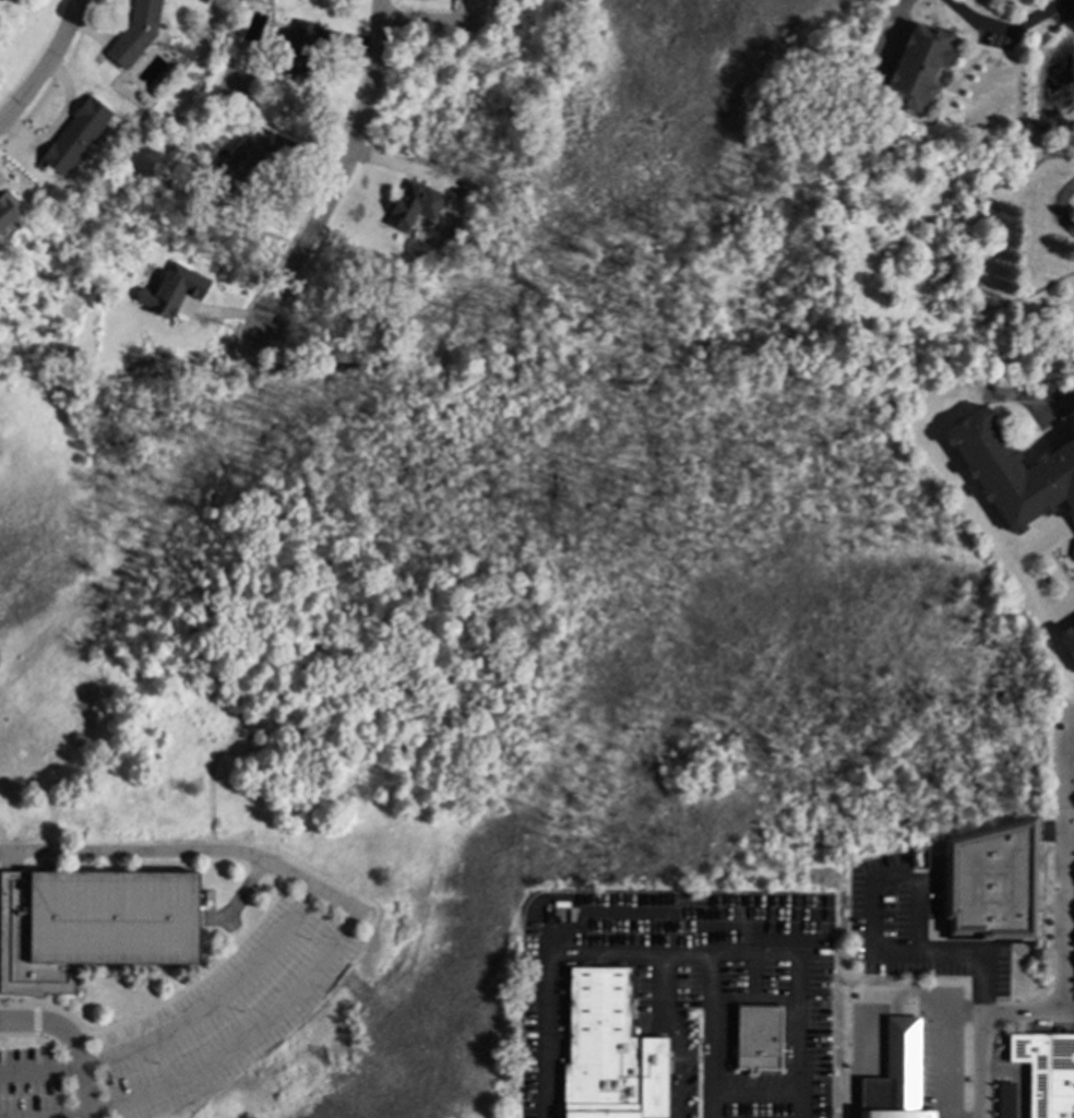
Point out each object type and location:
road: (431, 21)
road: (1006, 28)
road: (887, 36)
building: (300, 48)
building: (919, 66)
road: (47, 67)
building: (74, 135)
building: (239, 160)
road: (406, 165)
road: (341, 169)
building: (414, 204)
road: (1059, 209)
building: (8, 210)
building: (172, 289)
road: (1036, 392)
building: (1012, 472)
building: (1072, 547)
building: (1073, 552)
building: (1067, 640)
park: (261, 750)
road: (158, 849)
road: (1066, 865)
road: (312, 884)
building: (991, 885)
road: (871, 920)
building: (92, 925)
parking lot: (671, 926)
parking lot: (915, 927)
road: (757, 952)
parking lot: (713, 1002)
road: (964, 1013)
road: (1027, 1014)
parking lot: (196, 1018)
road: (676, 1033)
road: (546, 1034)
road: (872, 1034)
road: (712, 1035)
building: (757, 1037)
parking lot: (542, 1039)
road: (70, 1040)
parking lot: (806, 1042)
parking lot: (941, 1047)
road: (980, 1047)
building: (609, 1051)
road: (950, 1055)
building: (1047, 1071)
building: (896, 1075)
road: (1018, 1077)
road: (754, 1094)
building: (1005, 1099)
road: (63, 1115)

